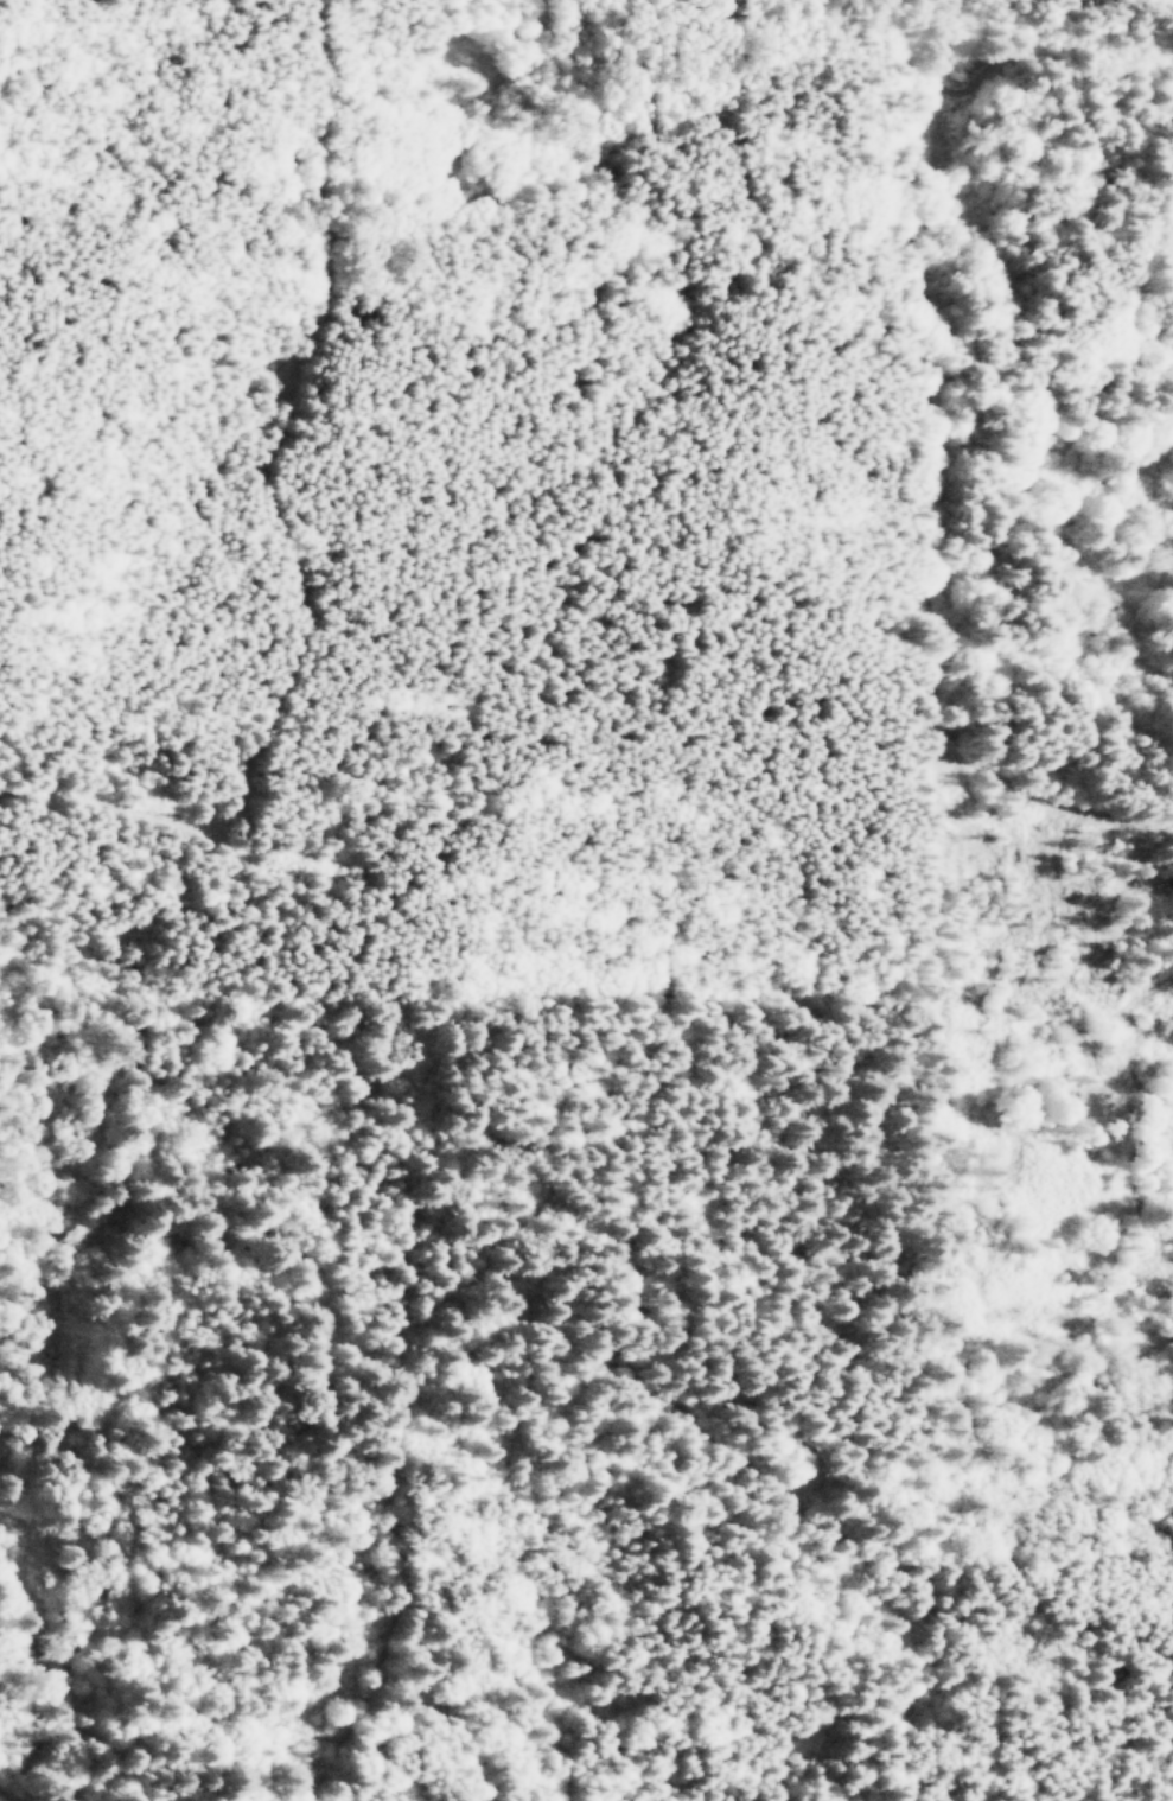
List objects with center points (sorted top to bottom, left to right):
road: (490, 1191)

